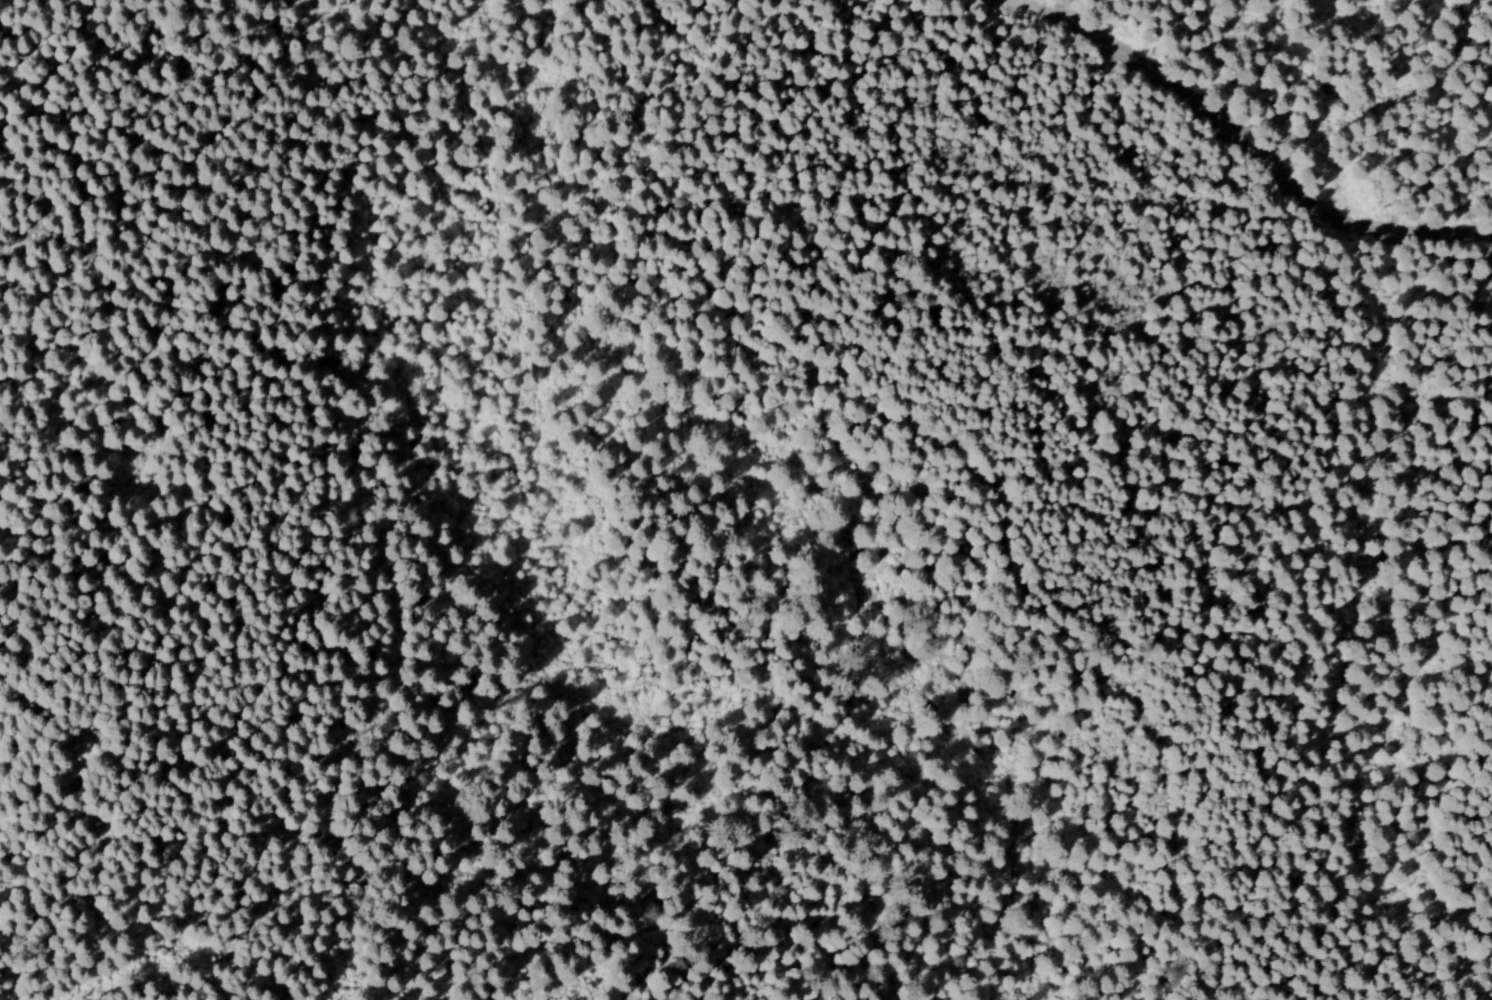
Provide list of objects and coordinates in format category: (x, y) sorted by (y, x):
road: (1244, 142)

